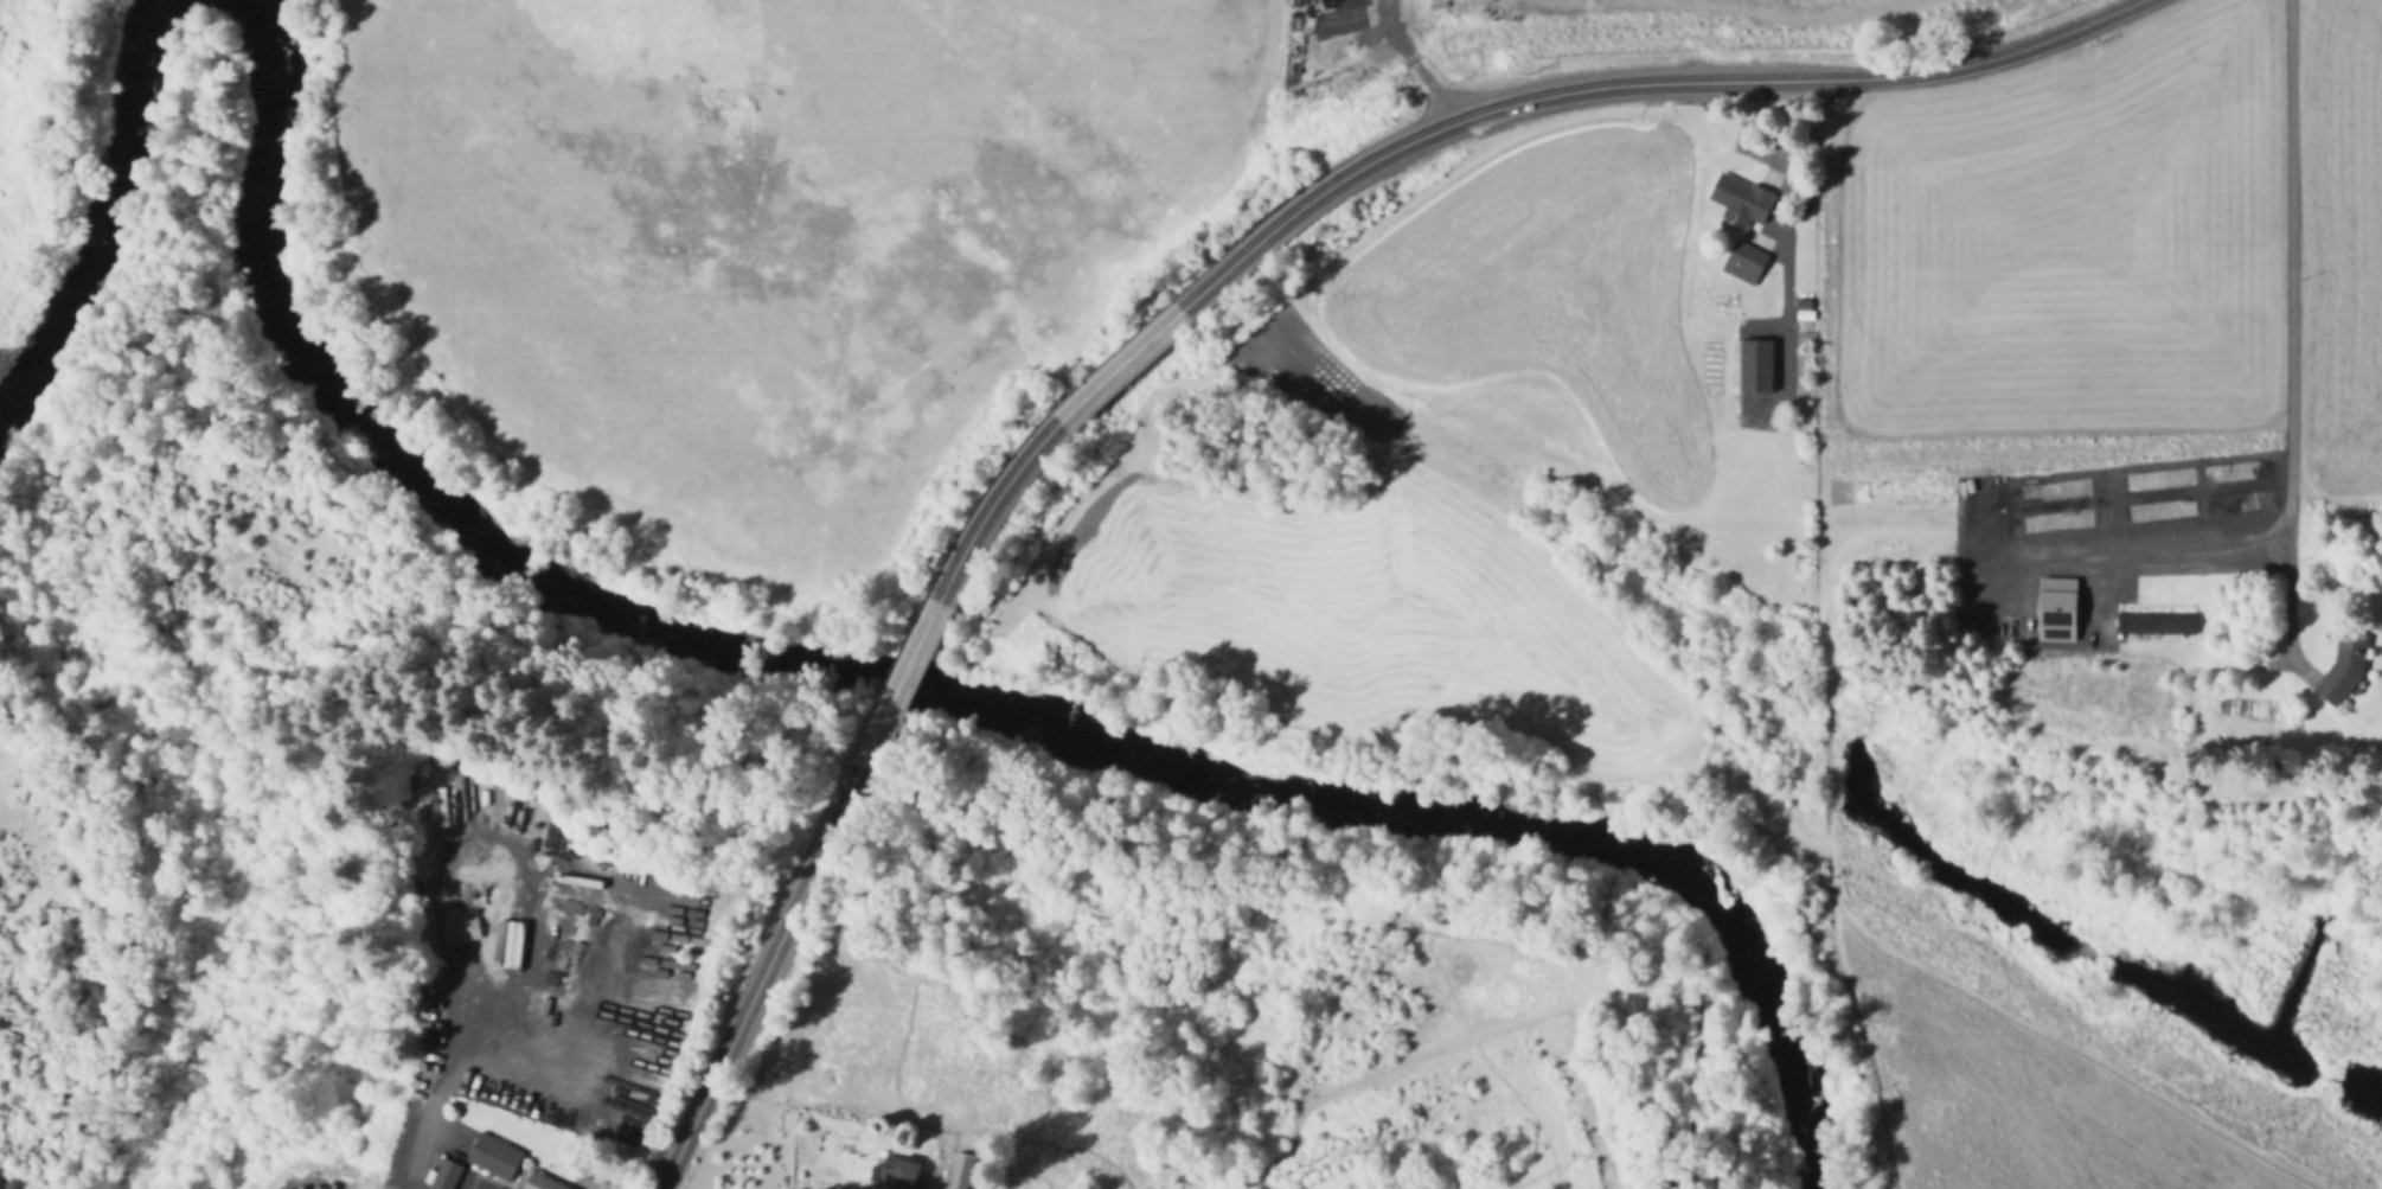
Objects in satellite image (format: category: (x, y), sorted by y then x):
landfill: (1711, 12)
road: (1415, 63)
road: (1634, 82)
river: (90, 183)
building: (1743, 199)
crop: (2067, 238)
crop: (2339, 249)
road: (1782, 254)
building: (1747, 262)
building: (1801, 301)
road: (2288, 328)
building: (1756, 364)
road: (1121, 365)
crop: (1423, 471)
road: (992, 505)
road: (1896, 552)
building: (1799, 562)
building: (2054, 607)
building: (2152, 621)
building: (2345, 667)
road: (902, 682)
river: (946, 697)
road: (494, 835)
building: (466, 929)
road: (761, 977)
road: (591, 978)
road: (1864, 1038)
road: (2070, 1047)
road: (425, 1124)
building: (497, 1156)
building: (902, 1170)
building: (959, 1170)
building: (446, 1174)
building: (543, 1181)
building: (908, 1188)

